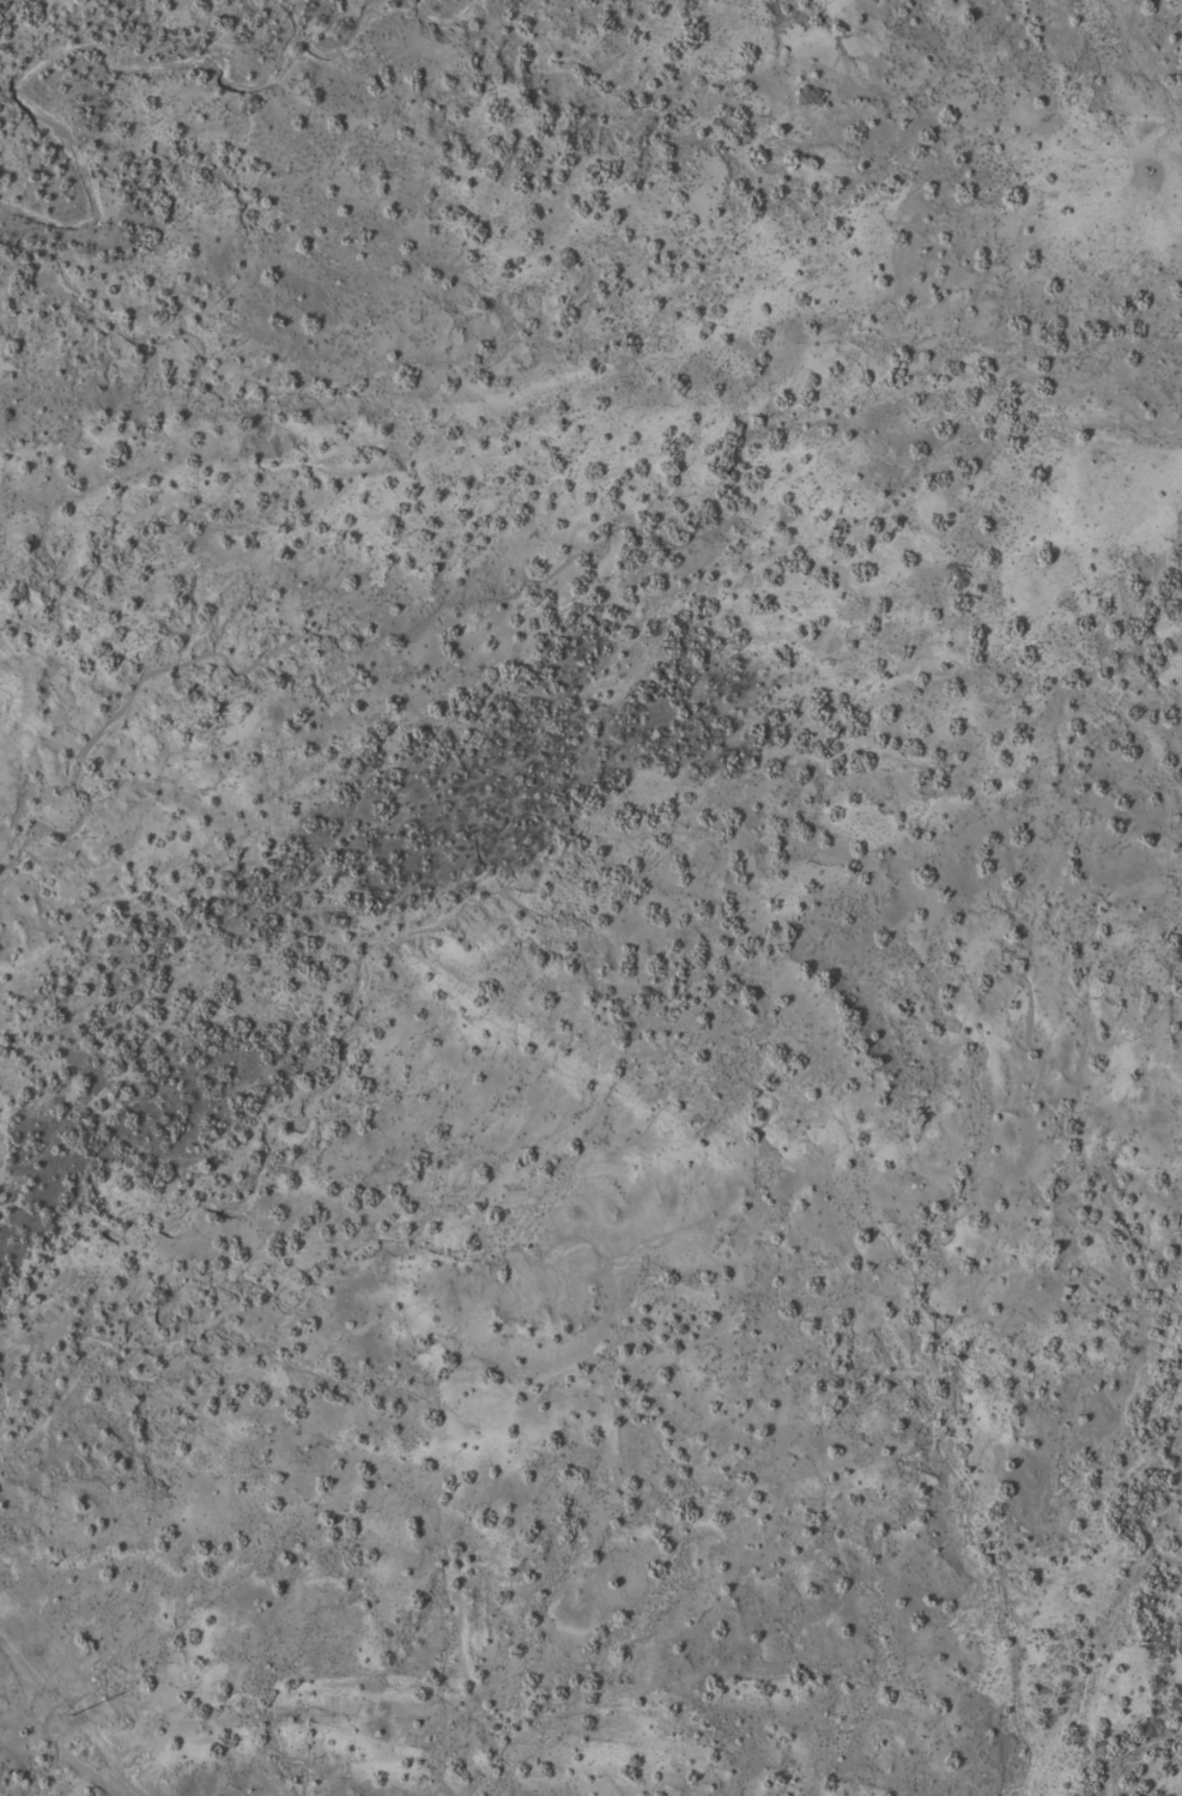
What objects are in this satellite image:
power tower: (77, 1717)

